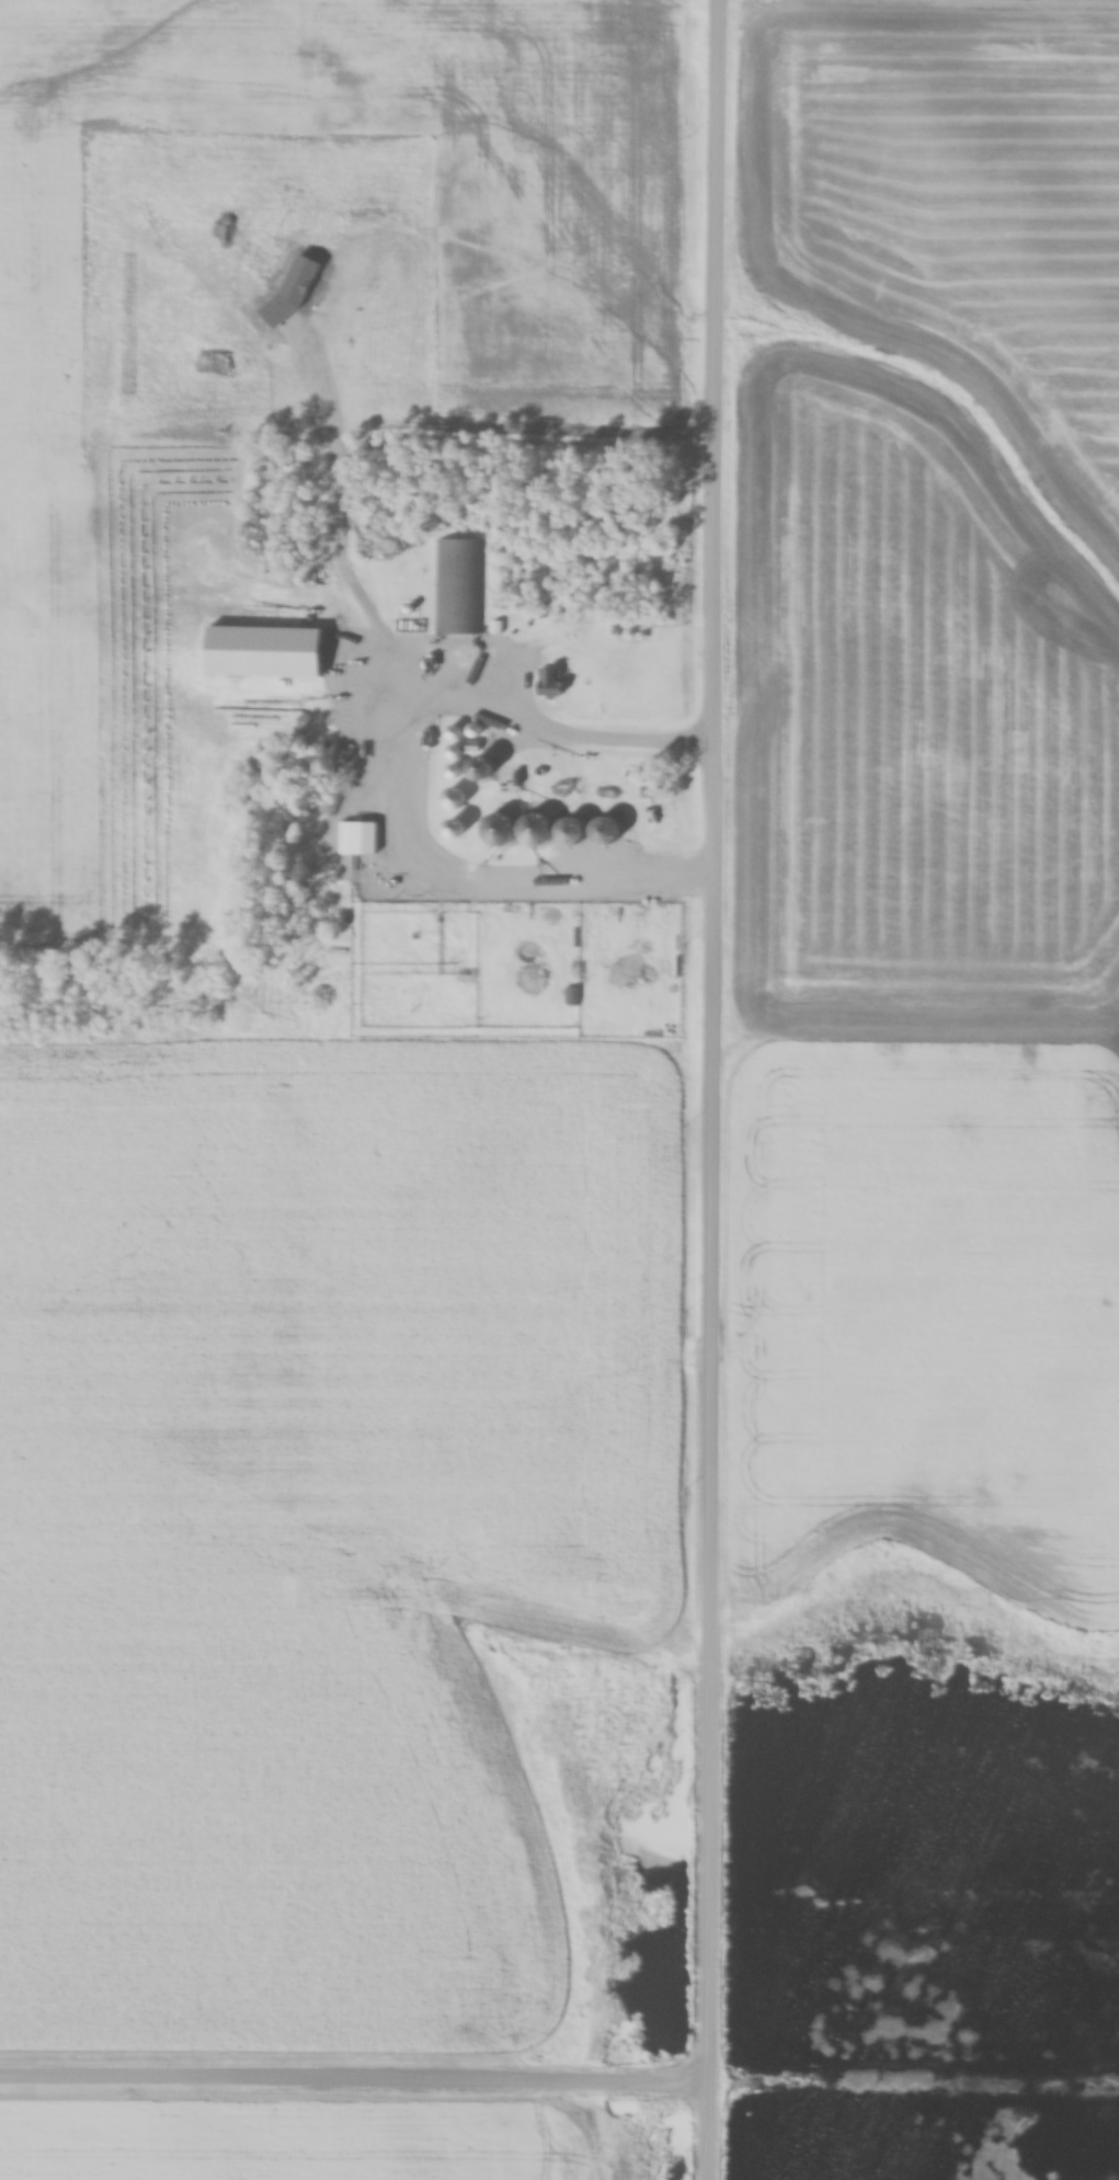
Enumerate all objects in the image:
building: (457, 587)
building: (549, 684)
road: (716, 1089)
road: (355, 2082)

